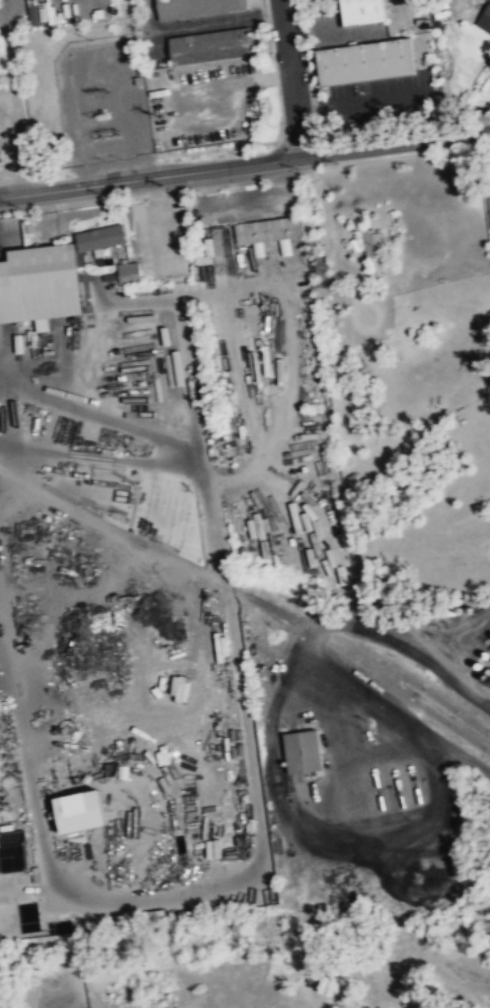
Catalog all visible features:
building: (196, 9)
building: (359, 12)
building: (485, 21)
building: (211, 48)
building: (361, 62)
building: (1, 69)
road: (291, 78)
power substation: (104, 98)
road: (245, 164)
building: (489, 186)
building: (488, 206)
building: (267, 228)
building: (100, 237)
building: (375, 243)
building: (128, 274)
building: (40, 283)
building: (310, 520)
railway: (142, 542)
building: (223, 646)
railway: (392, 667)
railway: (388, 682)
building: (306, 751)
building: (85, 811)
building: (214, 848)

